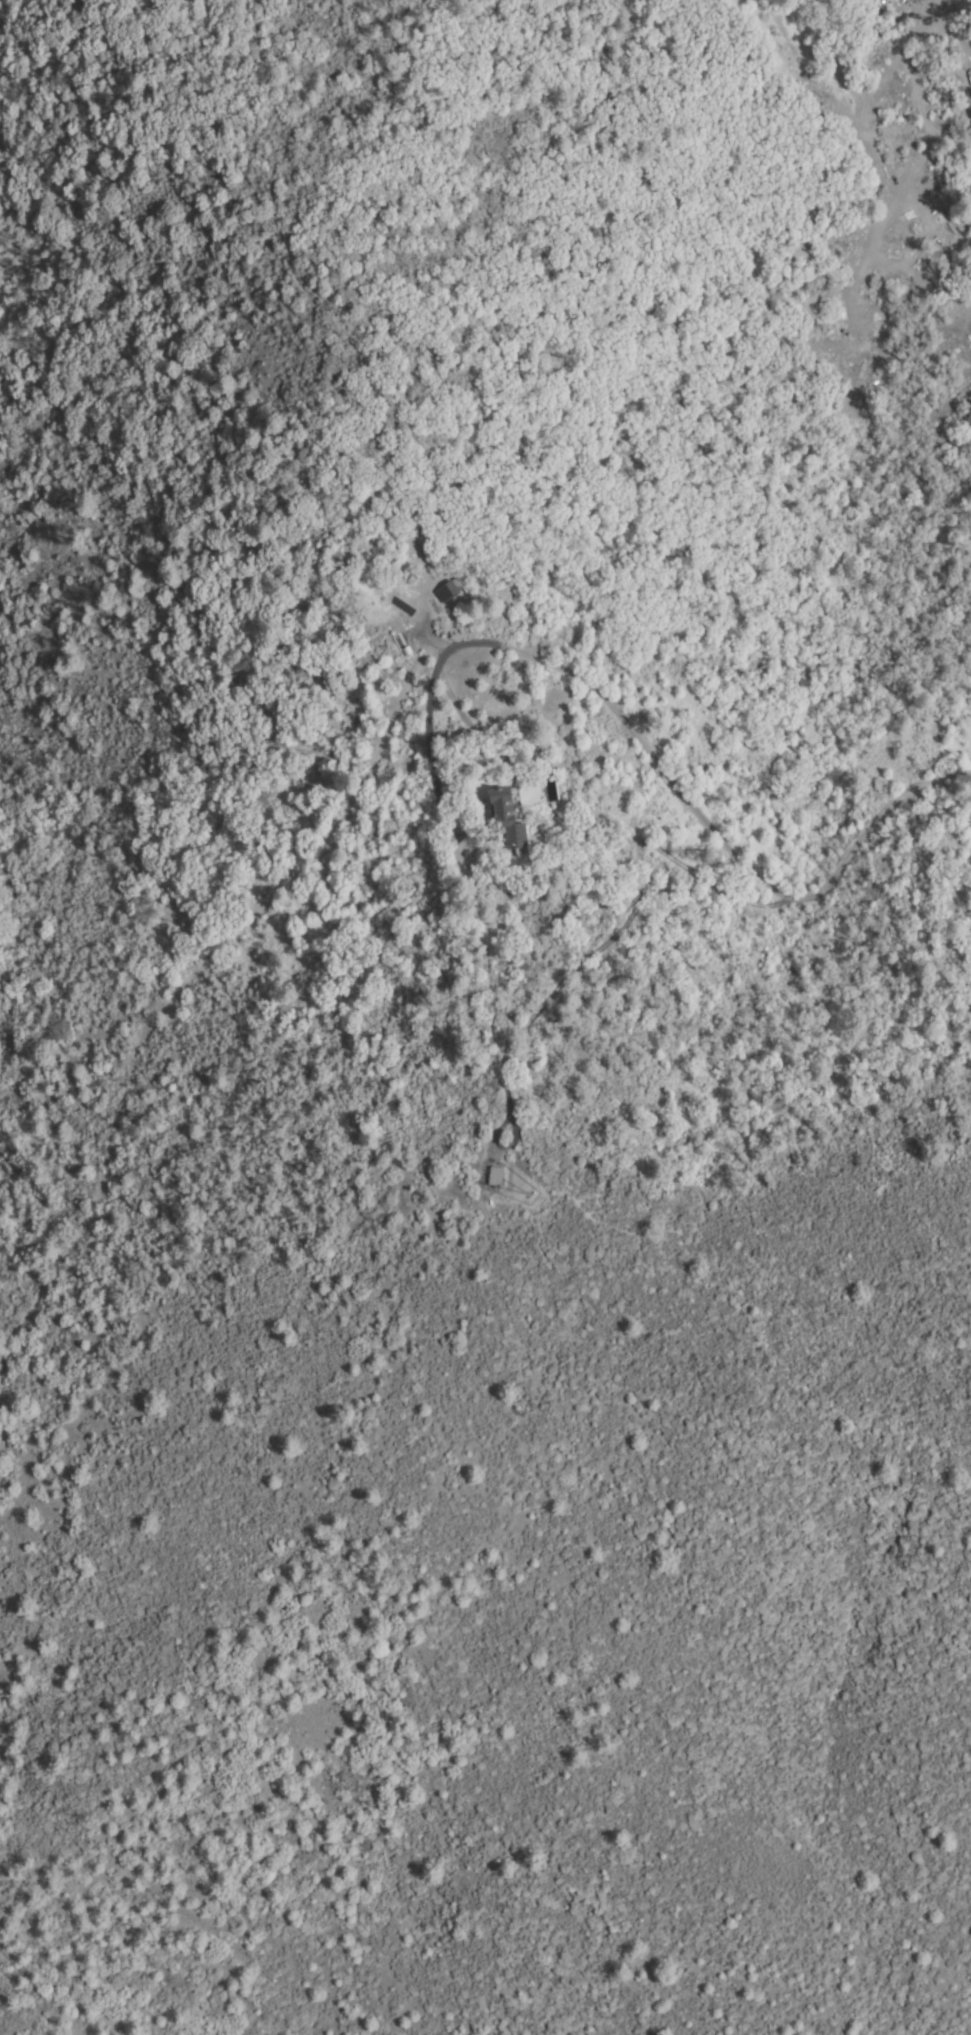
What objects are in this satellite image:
building: (450, 591)
building: (509, 820)
road: (730, 861)
road: (214, 945)
building: (496, 1177)
building: (518, 1191)

